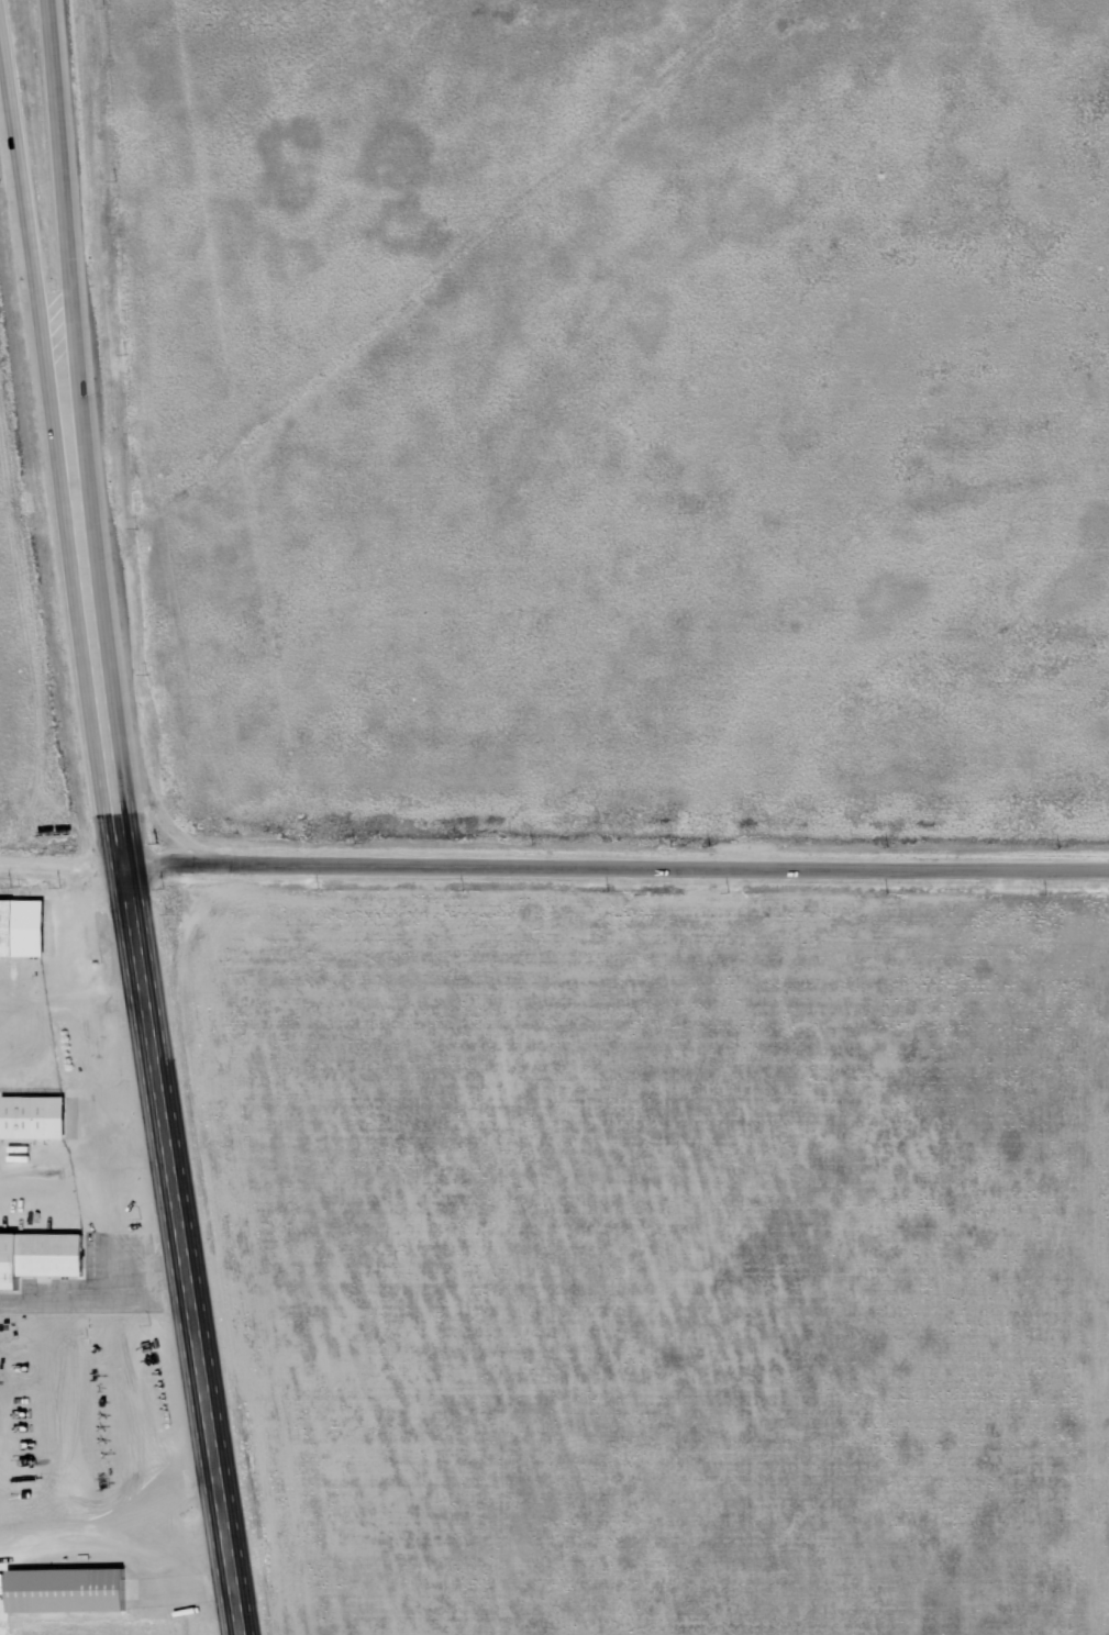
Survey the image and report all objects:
road: (62, 211)
road: (26, 236)
road: (62, 861)
road: (616, 867)
building: (22, 926)
road: (147, 1028)
building: (31, 1116)
building: (38, 1255)
building: (68, 1589)

